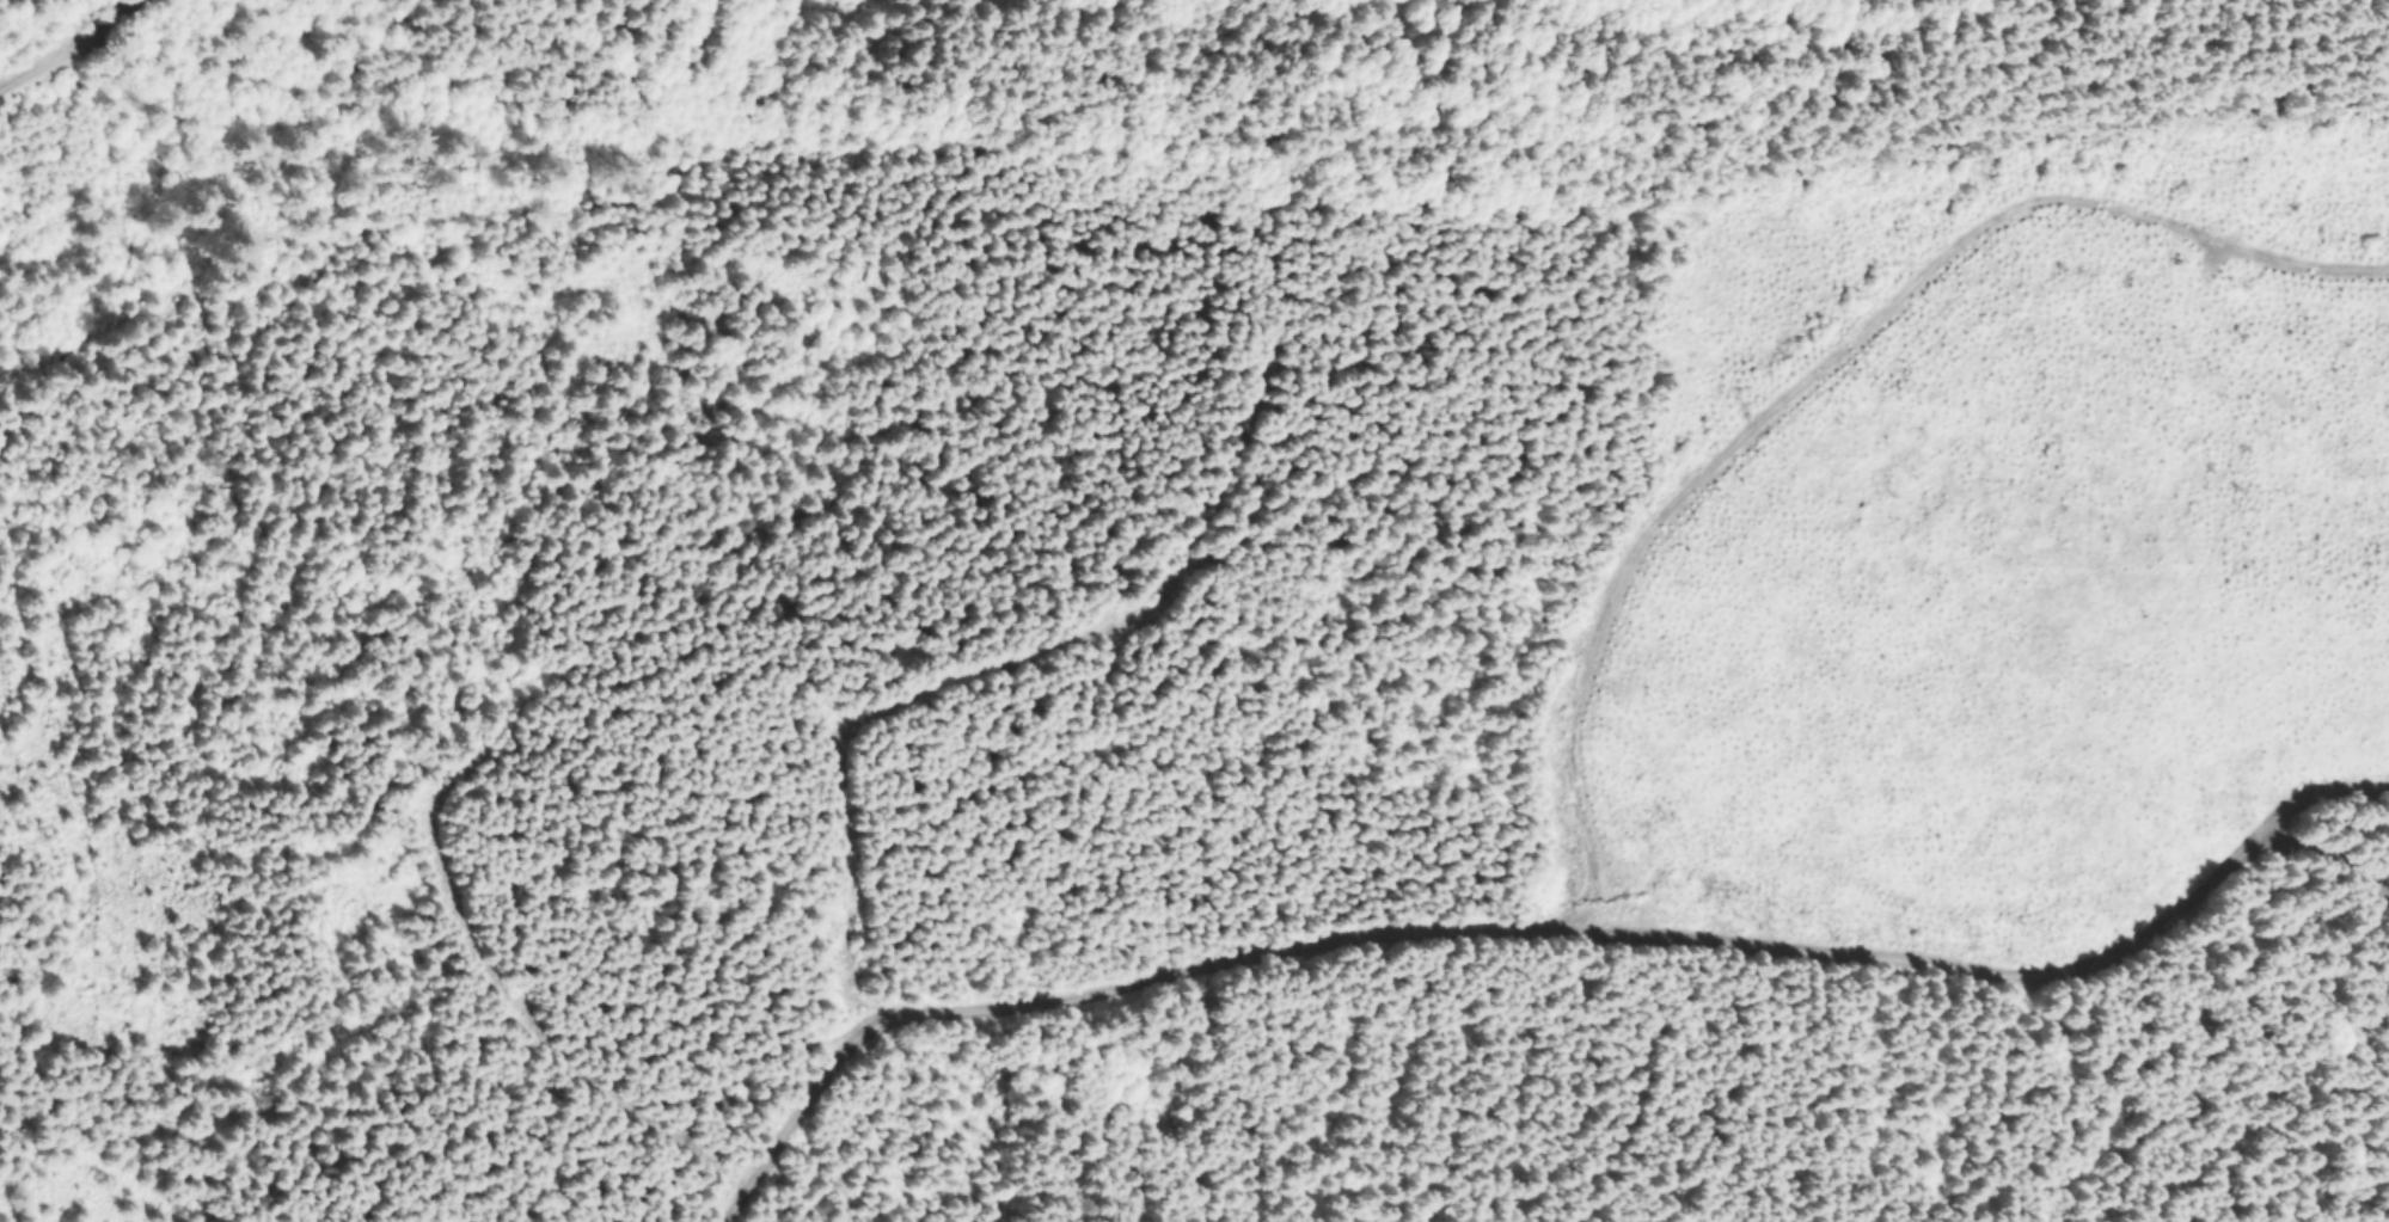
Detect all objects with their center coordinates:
road: (73, 45)
road: (982, 674)
road: (2324, 860)
road: (1536, 933)
road: (476, 957)

